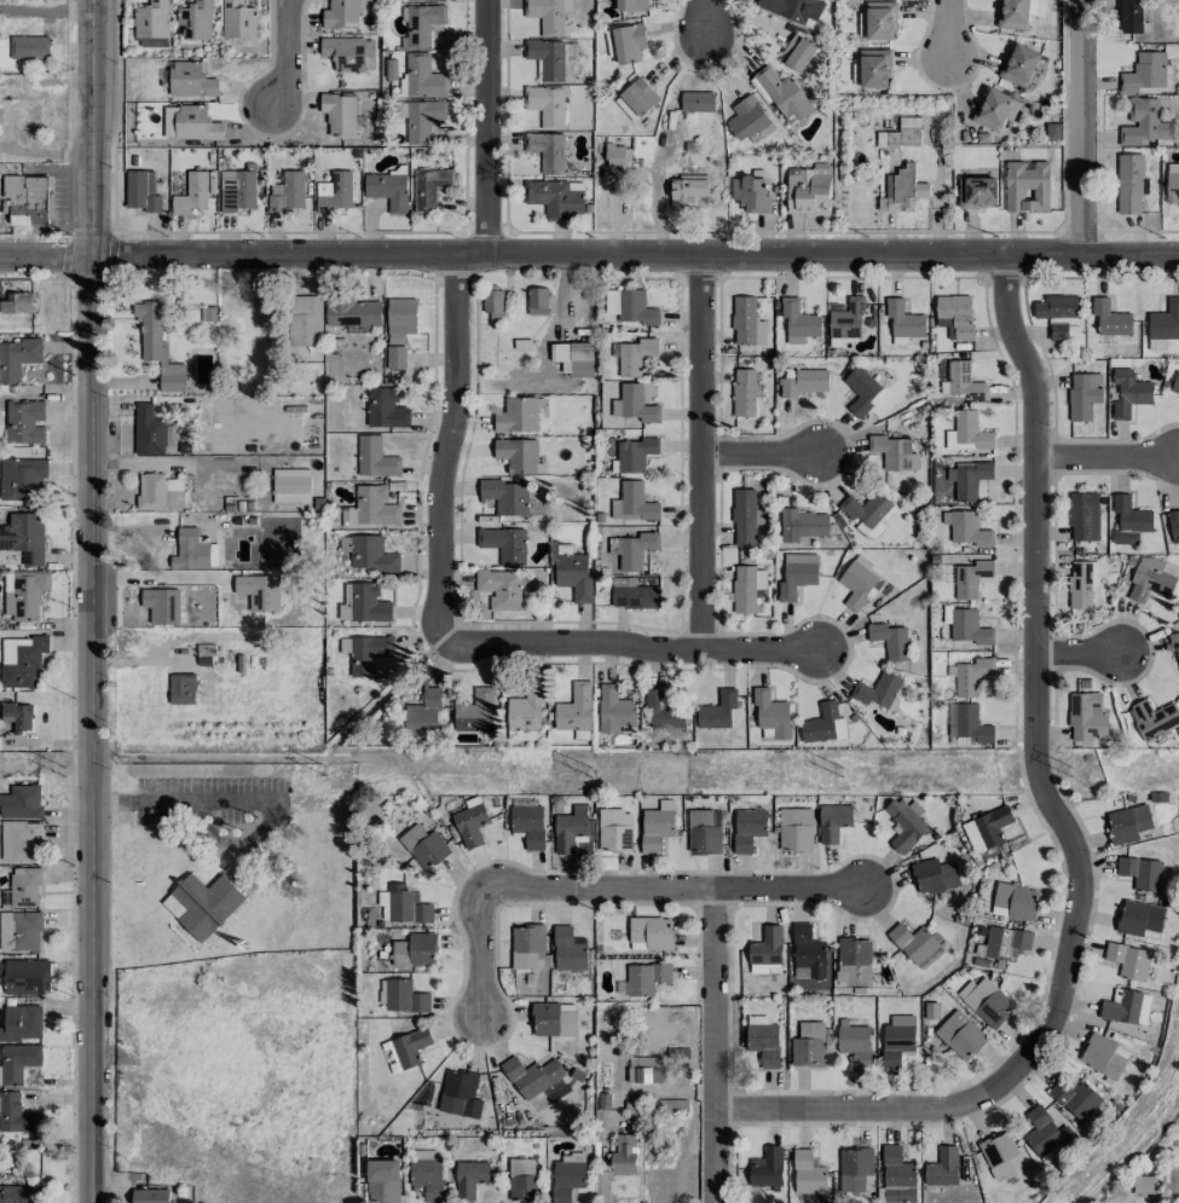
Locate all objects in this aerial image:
building: (426, 0)
building: (631, 5)
road: (46, 7)
building: (792, 10)
building: (342, 13)
building: (548, 15)
building: (1013, 15)
building: (1132, 17)
road: (705, 18)
building: (151, 19)
building: (238, 19)
building: (195, 21)
building: (878, 21)
building: (421, 24)
road: (947, 30)
building: (155, 42)
building: (609, 42)
building: (629, 42)
building: (28, 47)
building: (343, 52)
building: (368, 52)
building: (798, 54)
road: (287, 57)
building: (545, 57)
building: (1018, 64)
building: (872, 69)
building: (1144, 73)
building: (423, 77)
building: (191, 80)
building: (782, 93)
building: (636, 99)
building: (697, 102)
building: (545, 105)
building: (995, 109)
building: (339, 114)
building: (422, 118)
building: (749, 120)
building: (1143, 122)
building: (196, 123)
road: (485, 126)
road: (1081, 128)
building: (901, 133)
building: (547, 151)
road: (45, 152)
building: (615, 157)
building: (1129, 183)
building: (1172, 183)
building: (1027, 186)
building: (429, 187)
building: (808, 187)
building: (237, 190)
building: (388, 190)
building: (687, 190)
building: (902, 190)
building: (287, 191)
building: (335, 191)
building: (140, 192)
building: (976, 192)
building: (191, 193)
building: (750, 193)
building: (556, 197)
building: (25, 198)
road: (589, 253)
building: (492, 301)
building: (537, 301)
building: (17, 302)
building: (630, 306)
building: (352, 313)
building: (1058, 313)
building: (955, 316)
building: (845, 318)
building: (1110, 318)
building: (400, 319)
building: (903, 319)
building: (306, 320)
building: (798, 320)
building: (746, 322)
building: (1164, 322)
building: (157, 346)
building: (635, 355)
building: (395, 357)
building: (17, 358)
building: (573, 358)
building: (965, 381)
building: (804, 382)
building: (1175, 383)
building: (861, 389)
building: (744, 392)
building: (1128, 393)
building: (1083, 395)
building: (634, 404)
building: (385, 409)
building: (24, 421)
building: (148, 430)
building: (967, 433)
road: (449, 449)
road: (700, 452)
building: (894, 452)
building: (635, 453)
building: (516, 455)
road: (761, 456)
road: (1108, 457)
building: (375, 458)
building: (22, 479)
building: (969, 479)
building: (290, 485)
building: (942, 486)
building: (158, 491)
building: (505, 496)
building: (634, 503)
building: (866, 508)
building: (370, 509)
building: (1083, 516)
building: (746, 517)
building: (1129, 520)
building: (802, 525)
building: (1173, 527)
building: (969, 530)
building: (24, 537)
building: (503, 544)
building: (632, 549)
building: (190, 550)
building: (370, 554)
building: (572, 572)
building: (797, 574)
building: (971, 578)
building: (1151, 578)
building: (1081, 580)
building: (856, 582)
building: (499, 586)
building: (746, 588)
building: (634, 594)
building: (25, 595)
road: (88, 601)
building: (363, 603)
building: (969, 627)
building: (889, 640)
building: (1174, 643)
road: (630, 649)
building: (368, 653)
road: (1079, 655)
building: (21, 660)
road: (1035, 671)
building: (971, 676)
building: (181, 688)
building: (877, 689)
building: (526, 709)
building: (574, 709)
building: (614, 710)
building: (717, 710)
building: (475, 711)
building: (663, 711)
building: (411, 713)
building: (771, 713)
building: (18, 716)
building: (1086, 717)
building: (1152, 718)
building: (823, 724)
building: (971, 725)
building: (522, 735)
road: (174, 799)
building: (21, 802)
building: (470, 822)
building: (834, 822)
building: (905, 823)
building: (1127, 823)
building: (528, 825)
building: (657, 826)
building: (570, 828)
building: (747, 828)
building: (987, 828)
building: (796, 829)
building: (614, 831)
building: (704, 832)
building: (21, 840)
building: (423, 846)
building: (1140, 873)
building: (934, 875)
building: (22, 889)
road: (672, 890)
building: (1015, 901)
building: (202, 904)
building: (383, 904)
building: (406, 904)
building: (1139, 919)
building: (19, 931)
building: (649, 932)
building: (1006, 941)
building: (914, 943)
building: (527, 947)
building: (767, 947)
building: (567, 950)
building: (415, 952)
building: (808, 953)
road: (480, 958)
building: (854, 959)
building: (1128, 960)
building: (25, 977)
building: (642, 978)
building: (401, 996)
building: (986, 1001)
building: (1126, 1006)
building: (553, 1019)
building: (22, 1023)
building: (960, 1035)
building: (763, 1040)
building: (897, 1040)
building: (854, 1043)
building: (808, 1045)
road: (713, 1046)
building: (410, 1047)
building: (1103, 1057)
building: (17, 1062)
building: (645, 1069)
building: (531, 1076)
building: (458, 1094)
building: (1075, 1098)
building: (677, 1105)
road: (869, 1111)
building: (16, 1115)
building: (1046, 1134)
building: (623, 1153)
building: (1001, 1156)
building: (942, 1167)
building: (767, 1168)
building: (854, 1170)
building: (427, 1173)
building: (807, 1173)
building: (1173, 1173)
building: (897, 1176)
building: (470, 1178)
building: (521, 1180)
building: (566, 1180)
building: (383, 1181)
building: (1143, 1185)
building: (18, 1193)
building: (151, 1196)

